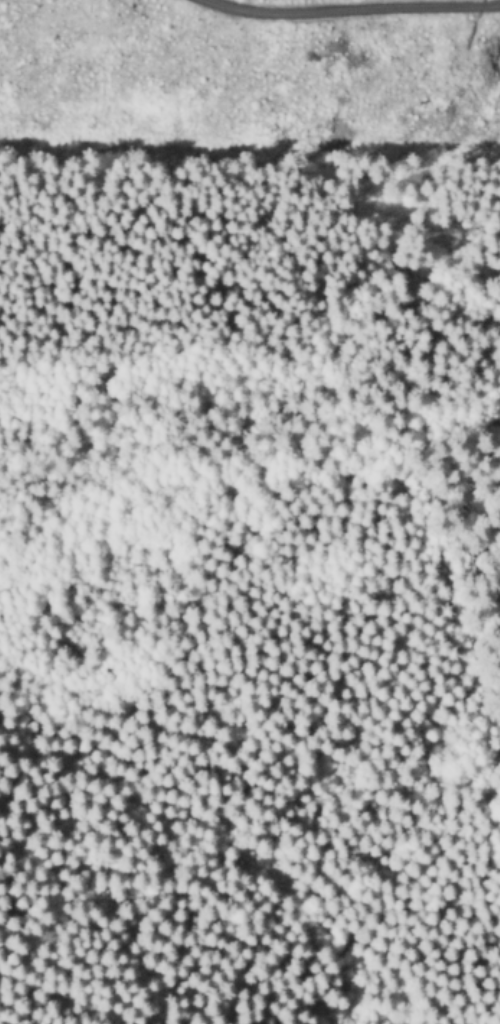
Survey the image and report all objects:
road: (339, 23)

